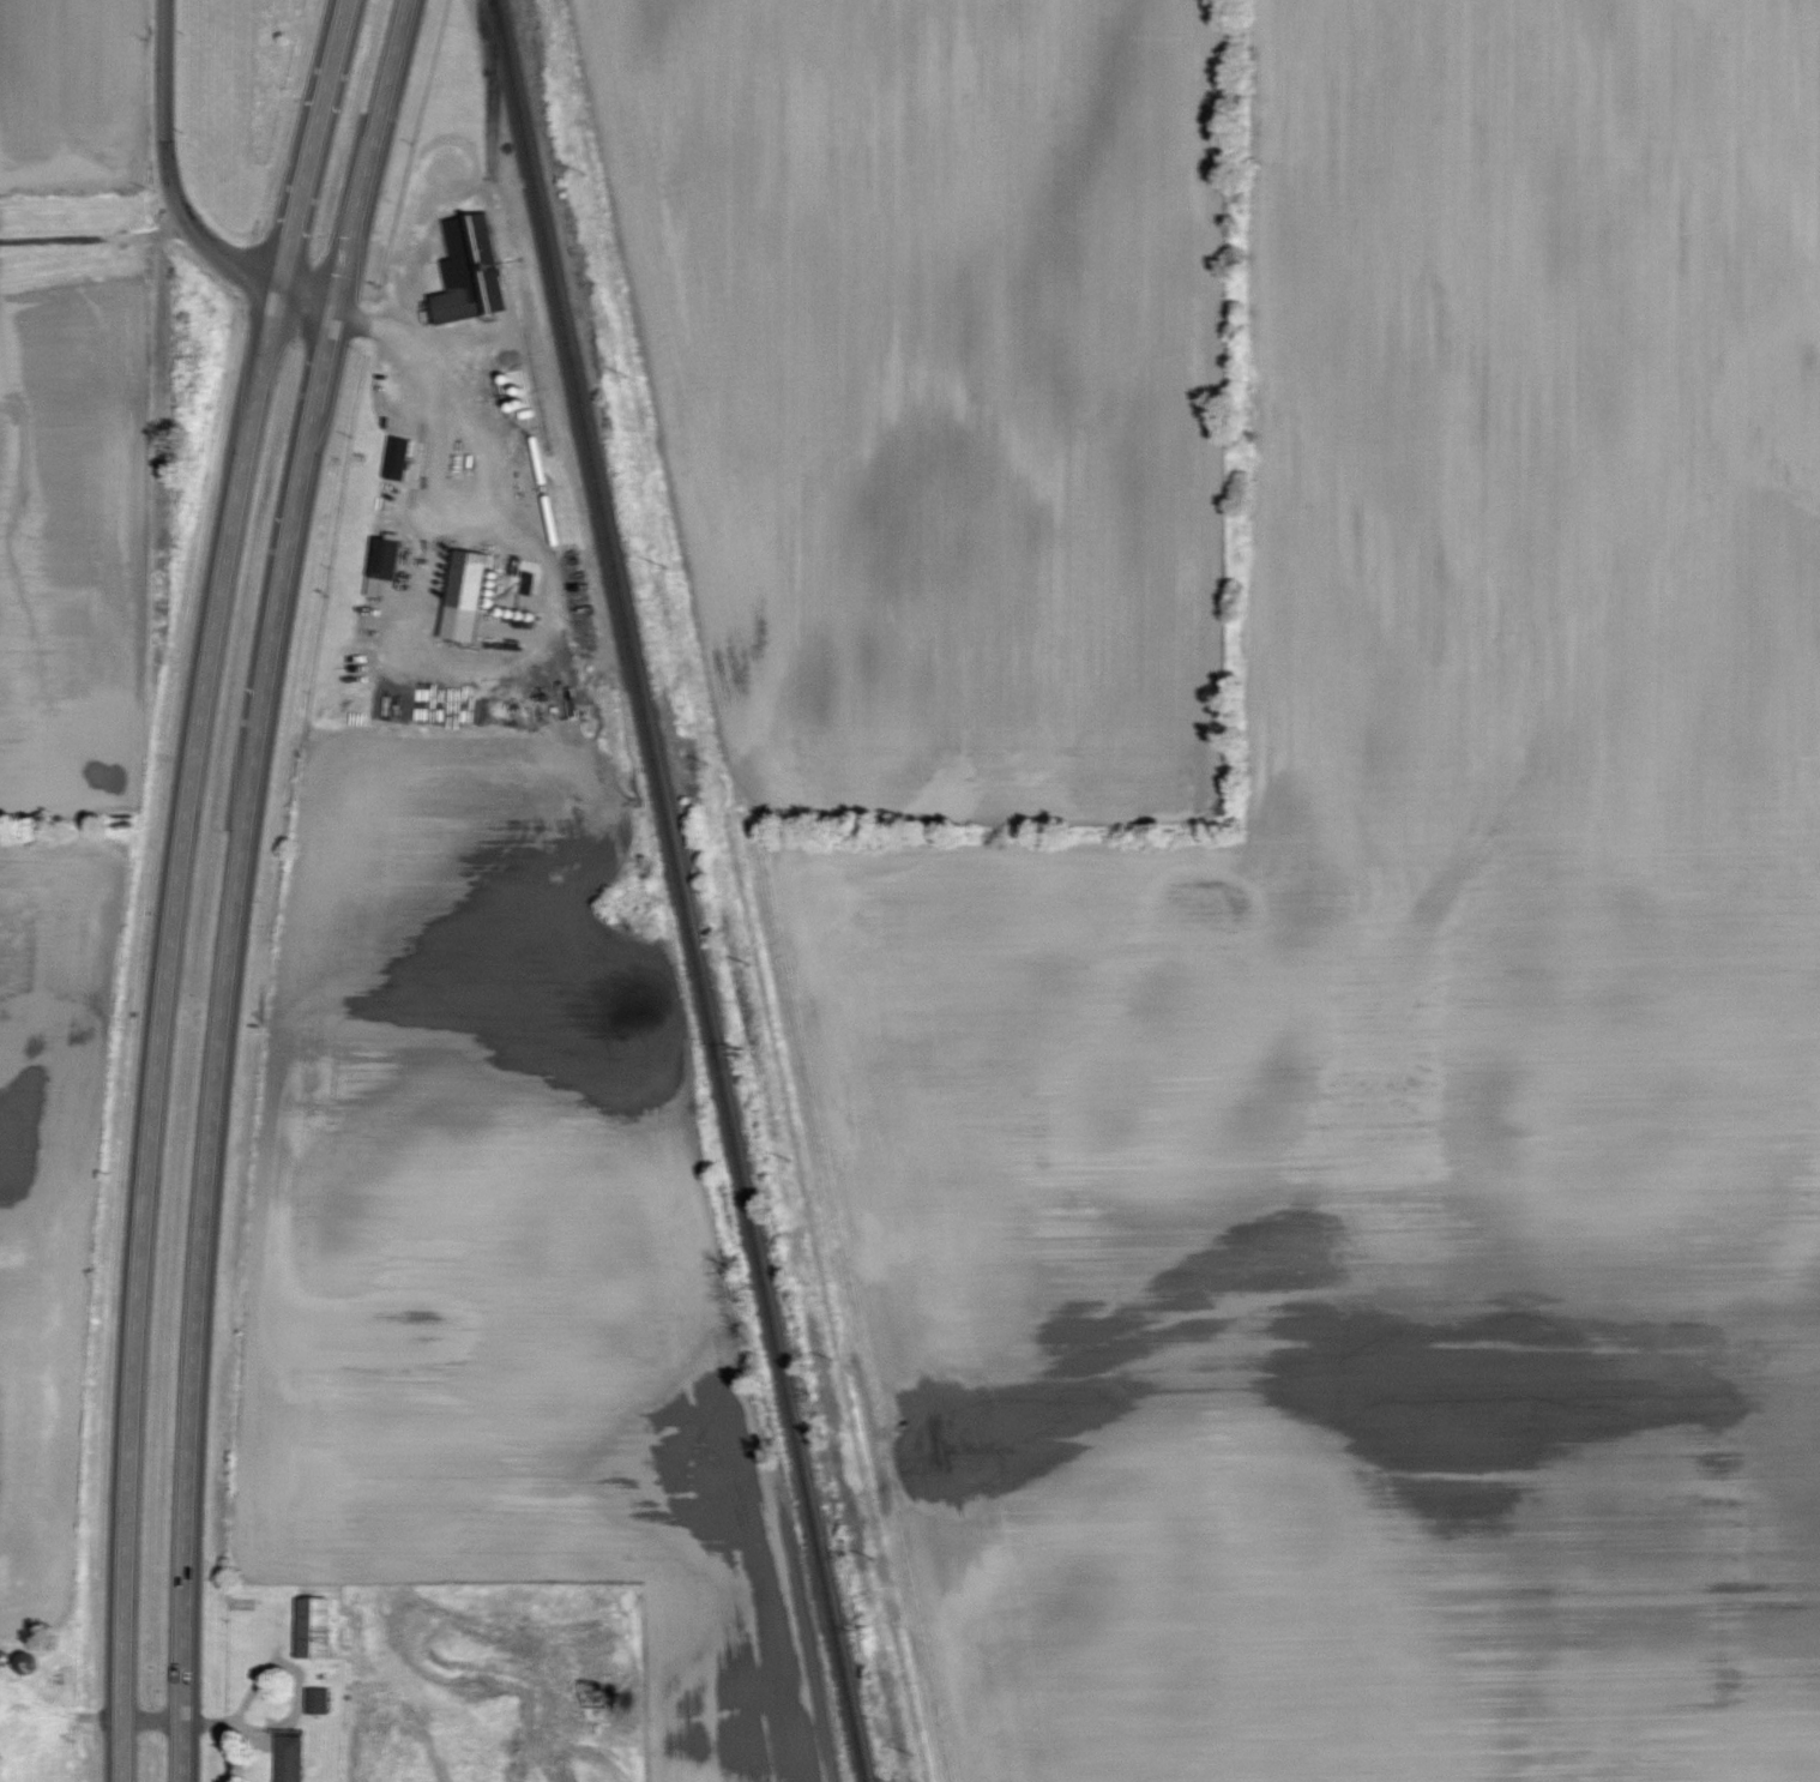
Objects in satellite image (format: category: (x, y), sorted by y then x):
road: (335, 59)
road: (394, 67)
road: (169, 175)
road: (91, 235)
building: (471, 273)
road: (311, 307)
road: (441, 392)
building: (398, 459)
building: (385, 566)
building: (466, 597)
railway: (679, 891)
road: (170, 944)
road: (231, 952)
building: (314, 1629)
building: (319, 1702)
road: (179, 1720)
building: (290, 1759)

